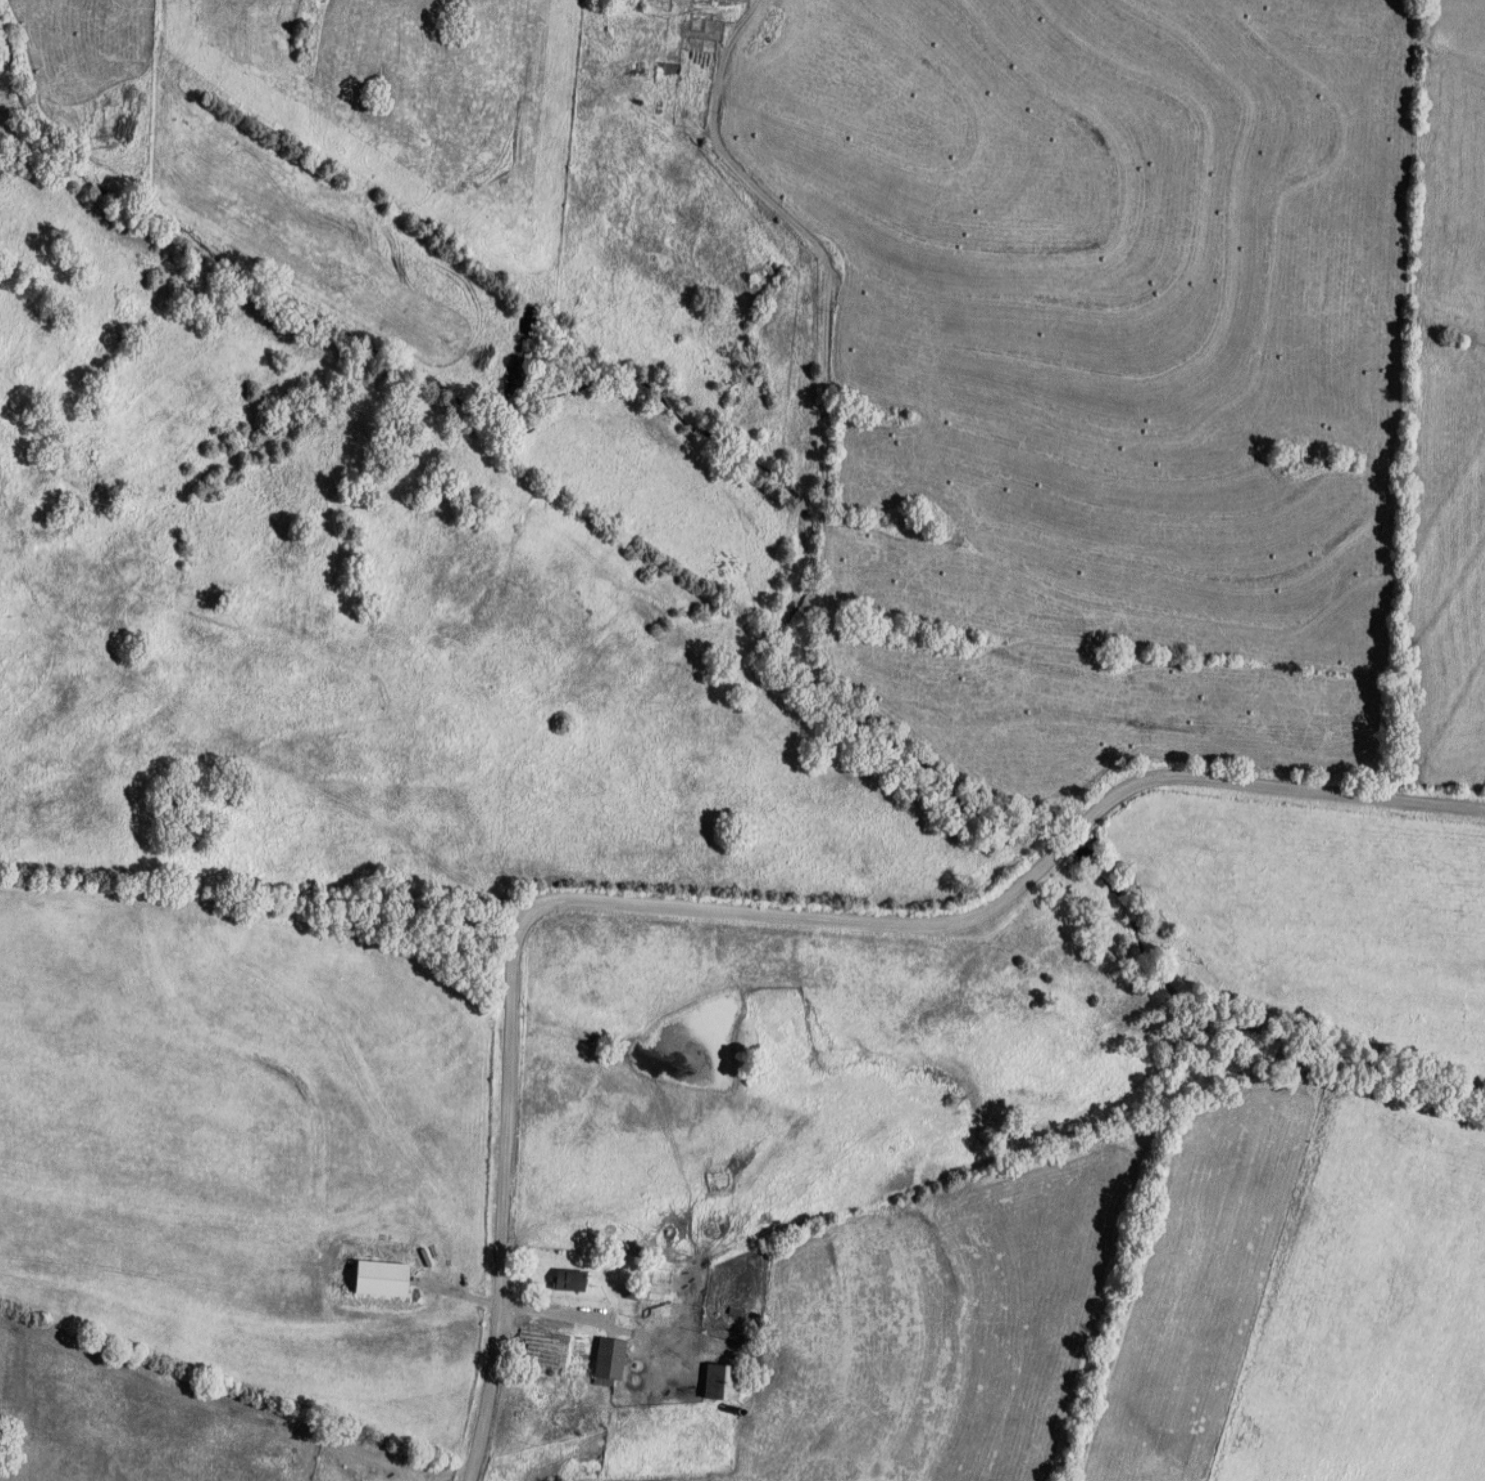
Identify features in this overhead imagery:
building: (671, 73)
road: (741, 910)
building: (376, 1279)
building: (567, 1280)
building: (606, 1361)
building: (720, 1384)

